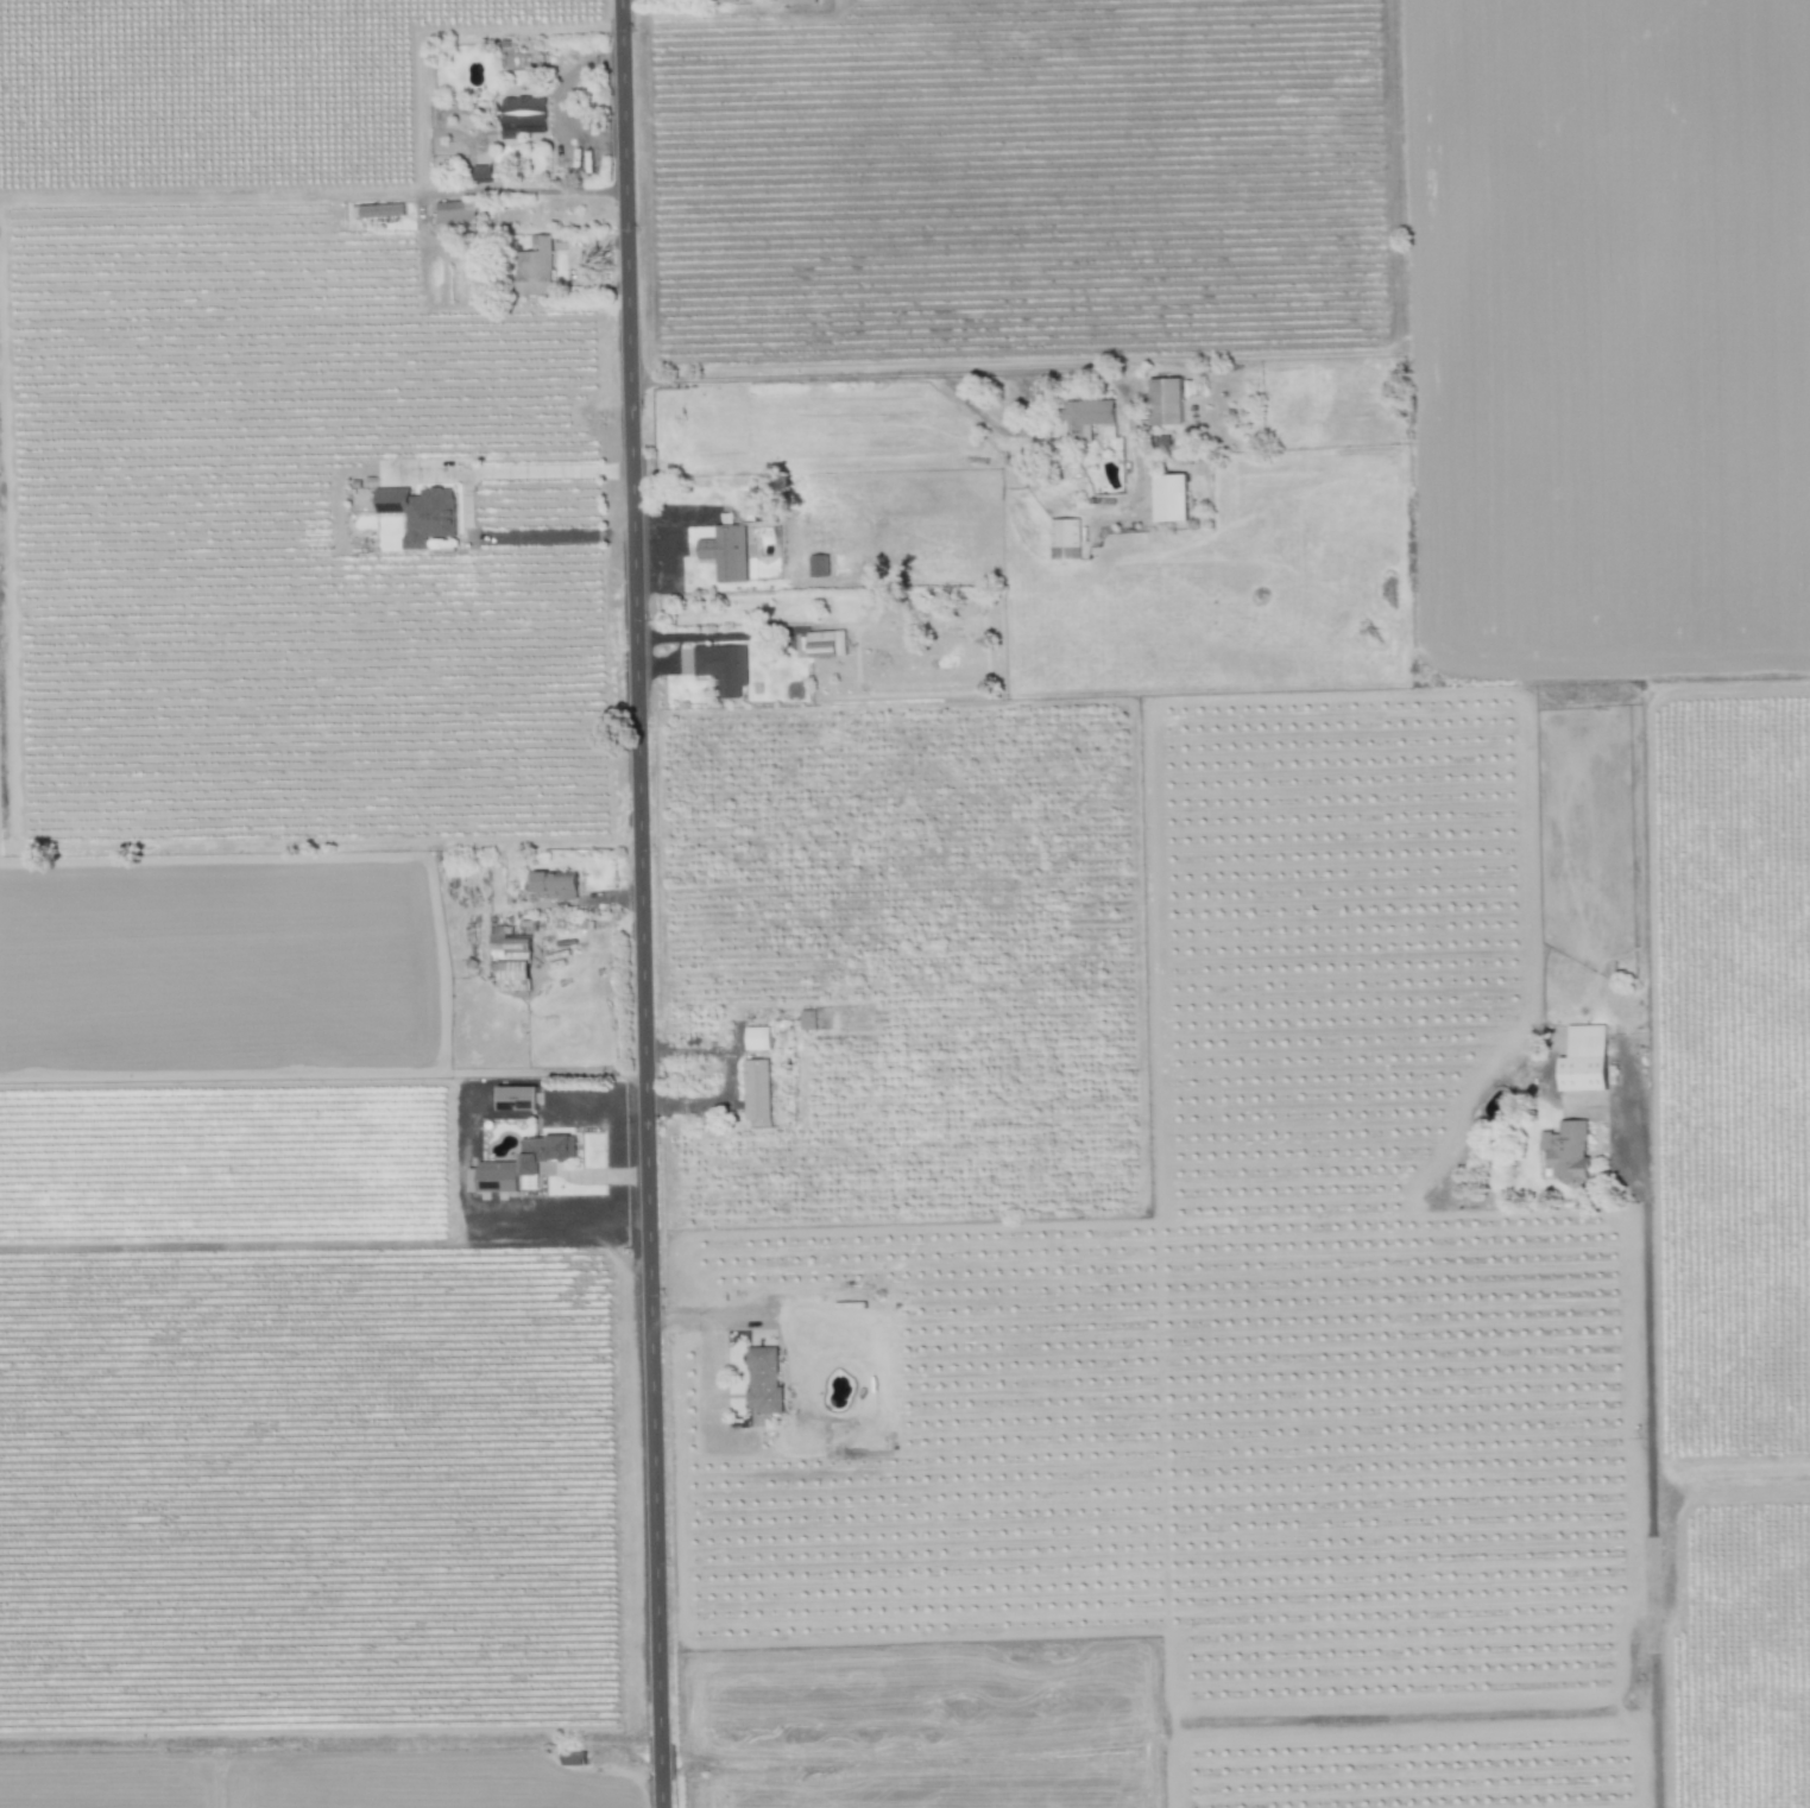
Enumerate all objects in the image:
building: (724, 1)
building: (797, 1)
building: (522, 116)
building: (481, 173)
road: (522, 189)
building: (381, 210)
building: (456, 215)
building: (535, 267)
road: (868, 377)
building: (1165, 402)
building: (1085, 418)
road: (516, 472)
building: (1169, 498)
building: (420, 513)
road: (559, 535)
building: (1064, 538)
building: (725, 552)
building: (818, 565)
building: (826, 644)
building: (723, 668)
building: (554, 884)
road: (644, 903)
building: (511, 959)
building: (807, 1019)
building: (758, 1038)
building: (1583, 1060)
road: (730, 1075)
building: (757, 1089)
building: (516, 1098)
road: (600, 1108)
building: (1566, 1150)
building: (544, 1151)
building: (493, 1177)
road: (712, 1330)
building: (763, 1380)
road: (1644, 1459)

